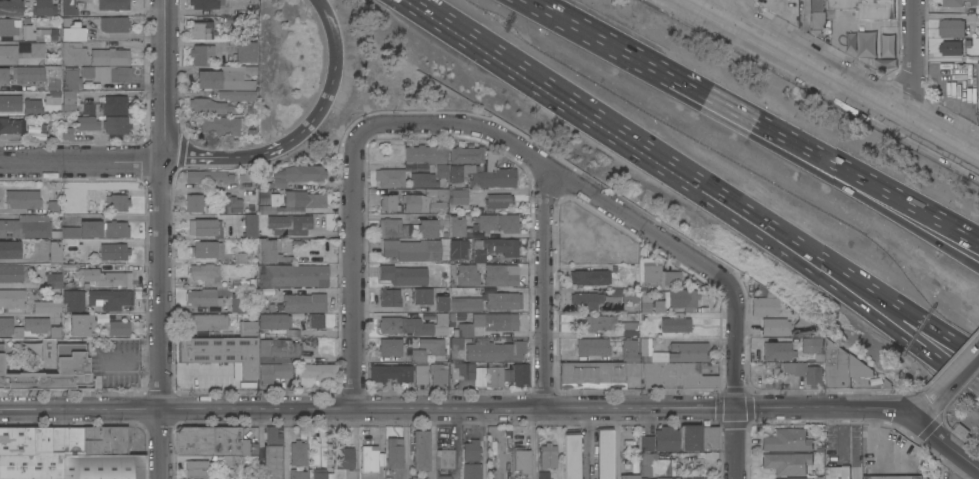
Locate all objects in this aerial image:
building: (973, 2)
building: (205, 3)
building: (951, 3)
building: (113, 4)
building: (71, 6)
building: (11, 7)
building: (864, 7)
building: (44, 8)
road: (735, 11)
road: (947, 14)
building: (815, 16)
building: (113, 23)
building: (951, 28)
building: (71, 29)
road: (332, 29)
building: (25, 30)
building: (202, 30)
road: (588, 30)
building: (866, 44)
building: (887, 46)
building: (950, 48)
building: (37, 49)
building: (73, 53)
building: (240, 53)
building: (13, 54)
building: (202, 54)
building: (110, 55)
road: (915, 60)
building: (107, 73)
building: (3, 75)
building: (39, 75)
building: (227, 77)
road: (835, 77)
road: (166, 78)
building: (74, 79)
building: (977, 85)
building: (233, 94)
building: (53, 97)
building: (68, 101)
building: (10, 102)
building: (115, 104)
building: (210, 106)
building: (32, 107)
building: (86, 108)
road: (579, 108)
building: (87, 122)
building: (13, 124)
building: (221, 125)
building: (116, 126)
building: (37, 132)
building: (66, 132)
road: (275, 148)
road: (812, 148)
building: (426, 153)
building: (465, 154)
road: (83, 160)
road: (811, 165)
road: (354, 170)
building: (442, 170)
building: (484, 173)
building: (298, 174)
building: (208, 176)
building: (390, 176)
building: (423, 179)
building: (250, 191)
building: (459, 196)
building: (22, 198)
building: (426, 200)
building: (499, 200)
building: (118, 202)
building: (194, 202)
building: (292, 202)
building: (389, 202)
building: (230, 203)
building: (54, 206)
building: (485, 222)
building: (508, 222)
building: (28, 226)
building: (208, 226)
building: (252, 226)
building: (456, 226)
building: (394, 227)
building: (431, 227)
building: (287, 228)
building: (116, 229)
building: (79, 234)
road: (523, 234)
building: (502, 246)
building: (10, 249)
building: (207, 249)
building: (412, 249)
building: (55, 250)
building: (114, 251)
building: (273, 252)
building: (465, 252)
road: (690, 255)
road: (814, 264)
building: (204, 271)
building: (11, 273)
building: (651, 273)
building: (467, 274)
building: (501, 274)
building: (293, 275)
building: (404, 275)
building: (104, 276)
building: (589, 277)
road: (851, 279)
building: (53, 280)
road: (544, 286)
building: (622, 295)
building: (422, 296)
building: (203, 297)
building: (390, 297)
building: (12, 298)
building: (74, 299)
building: (110, 299)
building: (683, 299)
building: (503, 300)
building: (585, 300)
building: (238, 302)
building: (304, 302)
building: (645, 302)
building: (441, 303)
building: (465, 304)
building: (47, 306)
building: (762, 306)
road: (163, 317)
building: (212, 321)
building: (272, 321)
building: (314, 321)
building: (598, 322)
building: (482, 323)
building: (675, 323)
building: (36, 324)
building: (81, 324)
building: (414, 325)
building: (803, 325)
building: (774, 326)
building: (119, 327)
building: (10, 328)
building: (630, 328)
building: (248, 329)
building: (55, 331)
road: (911, 337)
building: (817, 344)
building: (432, 345)
building: (593, 346)
building: (390, 347)
building: (279, 348)
building: (457, 349)
building: (629, 350)
building: (777, 350)
road: (967, 350)
building: (495, 351)
building: (222, 352)
building: (675, 352)
building: (417, 355)
building: (843, 366)
building: (786, 367)
building: (462, 370)
building: (273, 371)
building: (316, 373)
building: (391, 373)
building: (520, 373)
building: (51, 374)
building: (421, 374)
building: (438, 374)
building: (591, 375)
building: (676, 375)
building: (814, 375)
building: (494, 376)
road: (960, 376)
road: (956, 378)
road: (368, 406)
road: (828, 407)
road: (925, 411)
building: (962, 430)
road: (841, 433)
building: (699, 437)
building: (666, 438)
building: (105, 439)
building: (210, 440)
building: (787, 440)
road: (588, 442)
road: (285, 443)
road: (405, 443)
road: (615, 443)
building: (646, 443)
road: (735, 443)
road: (887, 443)
road: (948, 443)
building: (37, 450)
building: (421, 450)
building: (471, 450)
building: (297, 452)
building: (394, 452)
building: (272, 454)
building: (605, 454)
building: (548, 455)
building: (572, 455)
building: (344, 457)
building: (445, 458)
building: (522, 458)
building: (230, 460)
building: (884, 460)
building: (369, 462)
building: (787, 462)
building: (655, 465)
building: (103, 466)
building: (196, 469)
building: (472, 471)
building: (837, 472)
building: (319, 473)
building: (297, 474)
building: (543, 475)
building: (443, 476)
building: (629, 476)
building: (893, 477)
building: (673, 478)
building: (797, 478)

